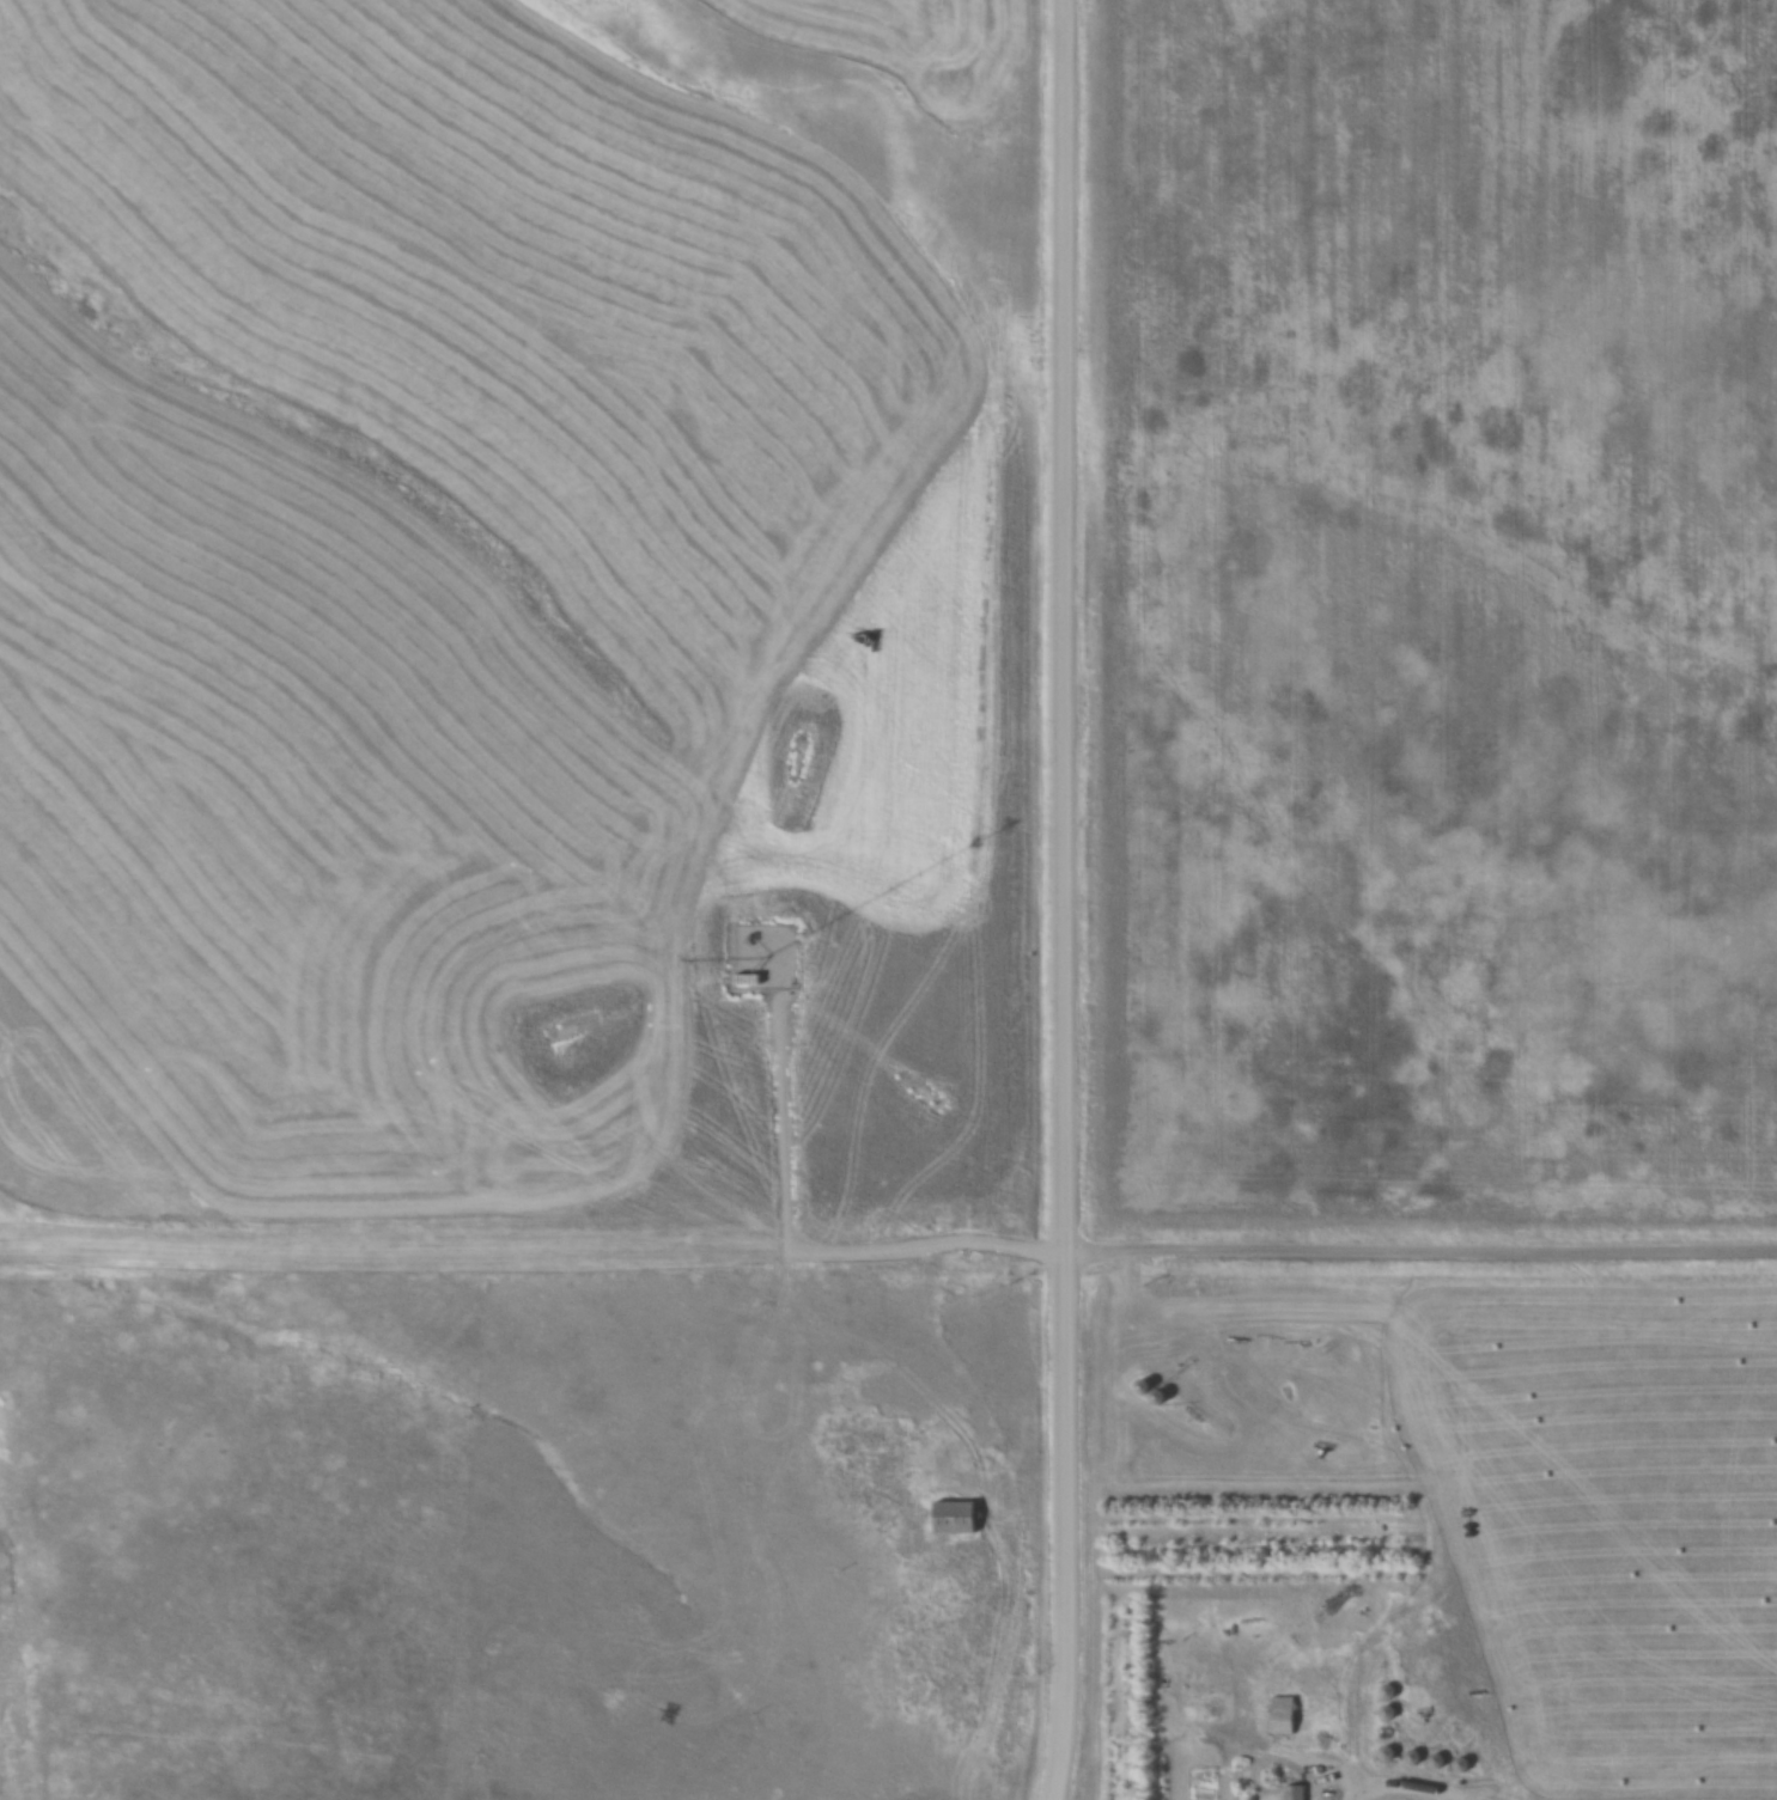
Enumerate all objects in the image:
road: (1067, 899)
road: (888, 1269)
building: (1144, 1386)
building: (1161, 1396)
building: (956, 1517)
road: (1009, 1664)
building: (1390, 1690)
building: (1390, 1711)
building: (1286, 1714)
building: (1389, 1752)
building: (1416, 1757)
building: (1440, 1759)
building: (1465, 1763)
building: (1297, 1792)
road: (1356, 1796)

